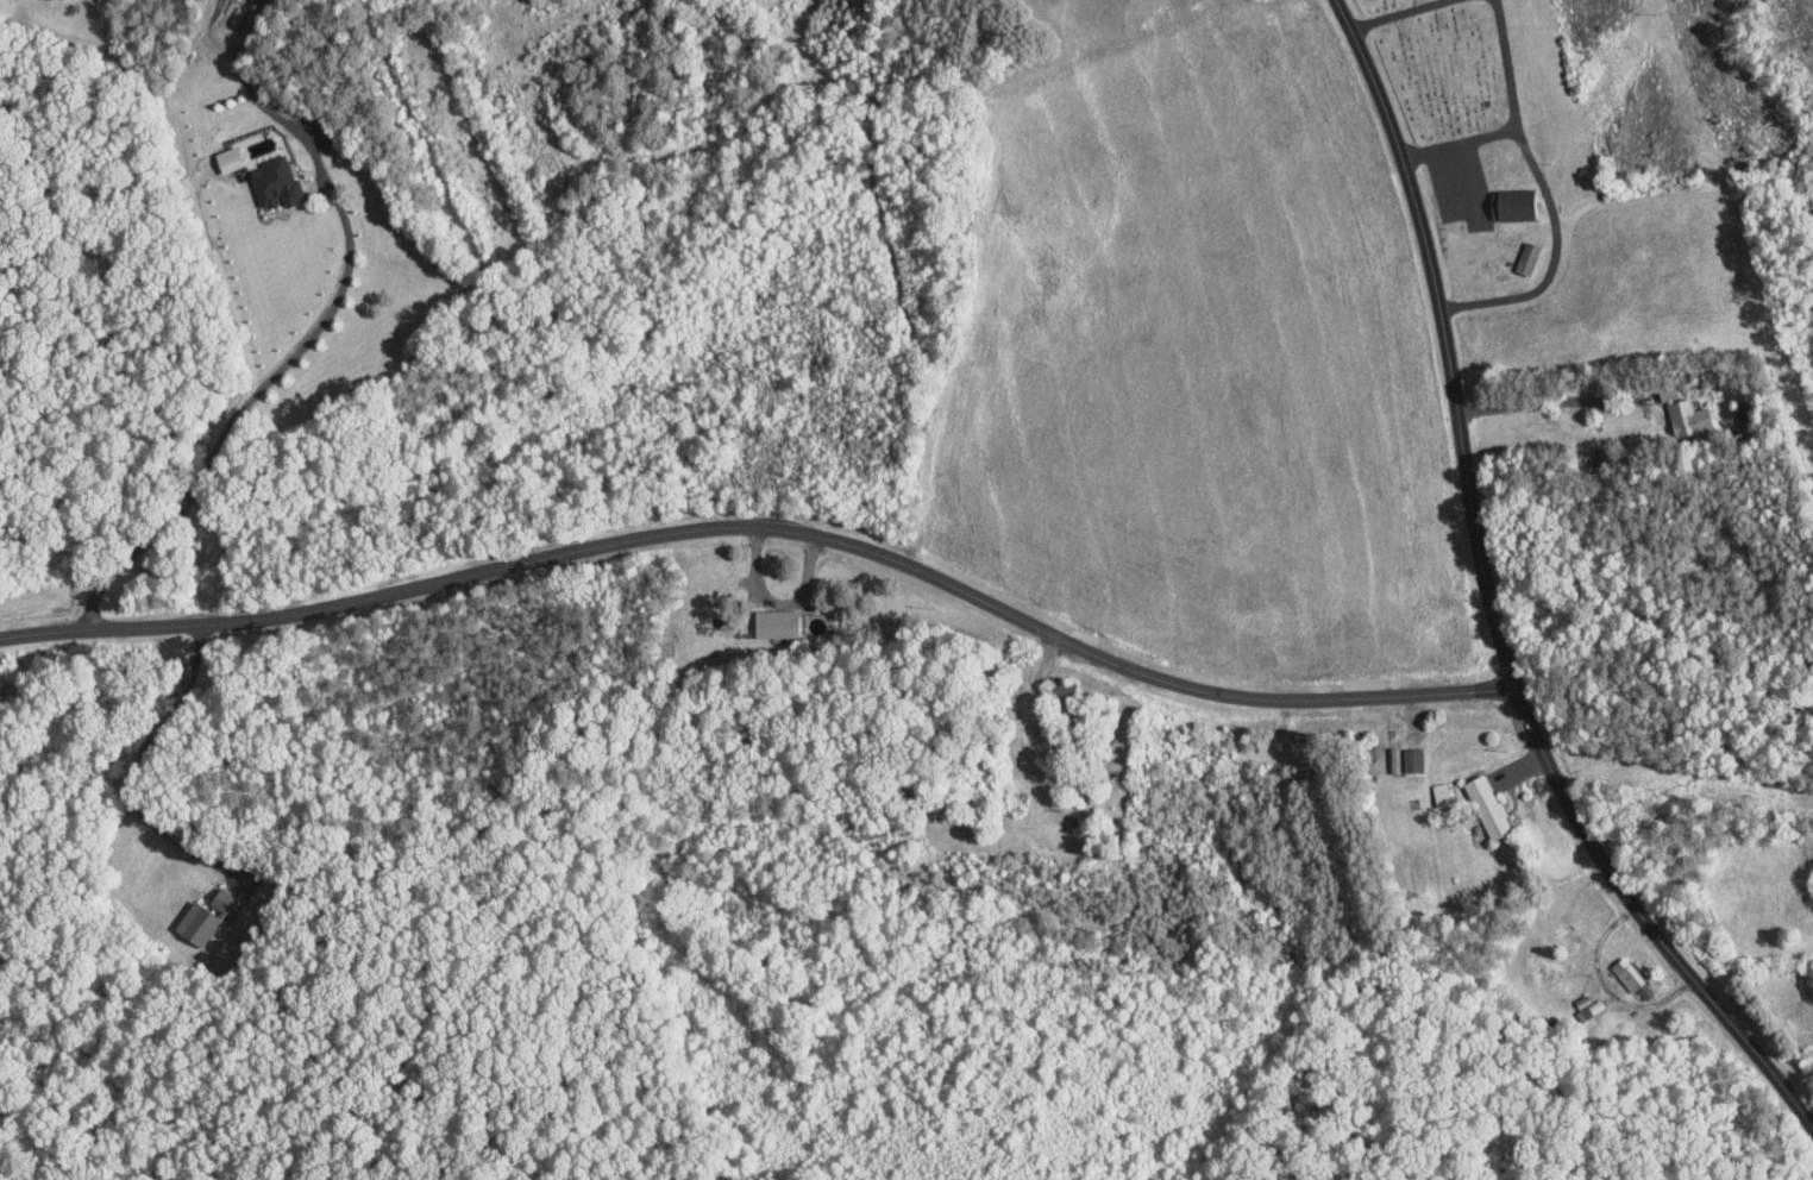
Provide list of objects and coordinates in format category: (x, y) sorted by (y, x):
road: (249, 29)
road: (212, 30)
road: (1456, 180)
building: (271, 183)
road: (1549, 200)
building: (1513, 205)
building: (1525, 258)
road: (291, 356)
road: (1563, 404)
building: (1682, 414)
road: (776, 535)
road: (1504, 595)
road: (776, 602)
building: (774, 622)
building: (1411, 758)
building: (1393, 760)
road: (133, 776)
building: (1486, 805)
building: (220, 900)
building: (194, 923)
building: (1629, 977)
building: (1581, 1000)
building: (1589, 1009)

